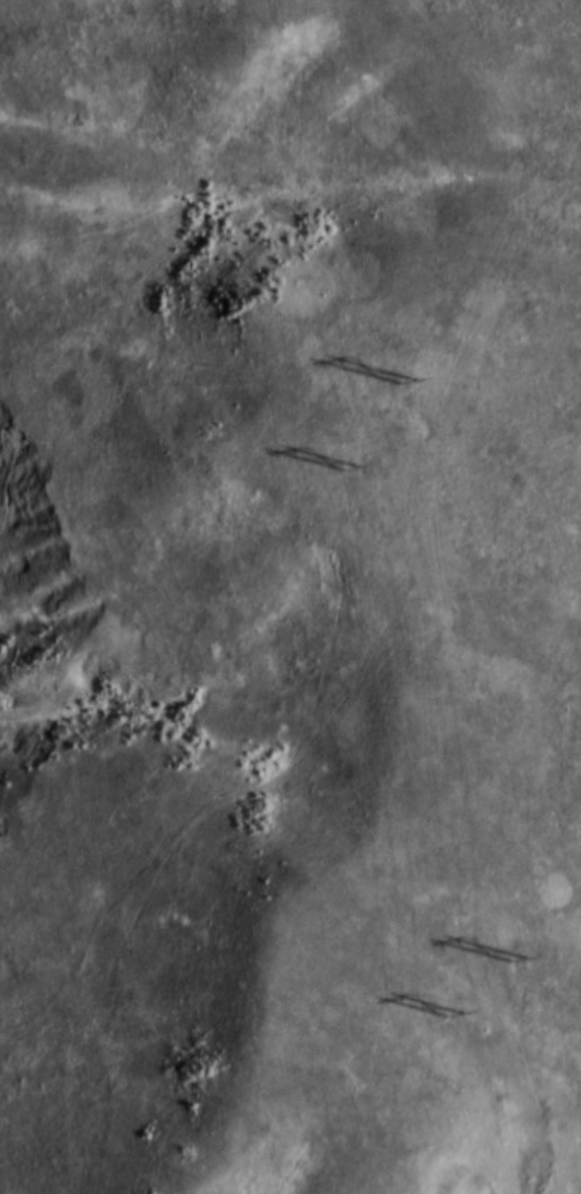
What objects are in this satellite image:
power tower: (406, 387)
power tower: (353, 478)
power tower: (521, 966)
power tower: (452, 1017)

